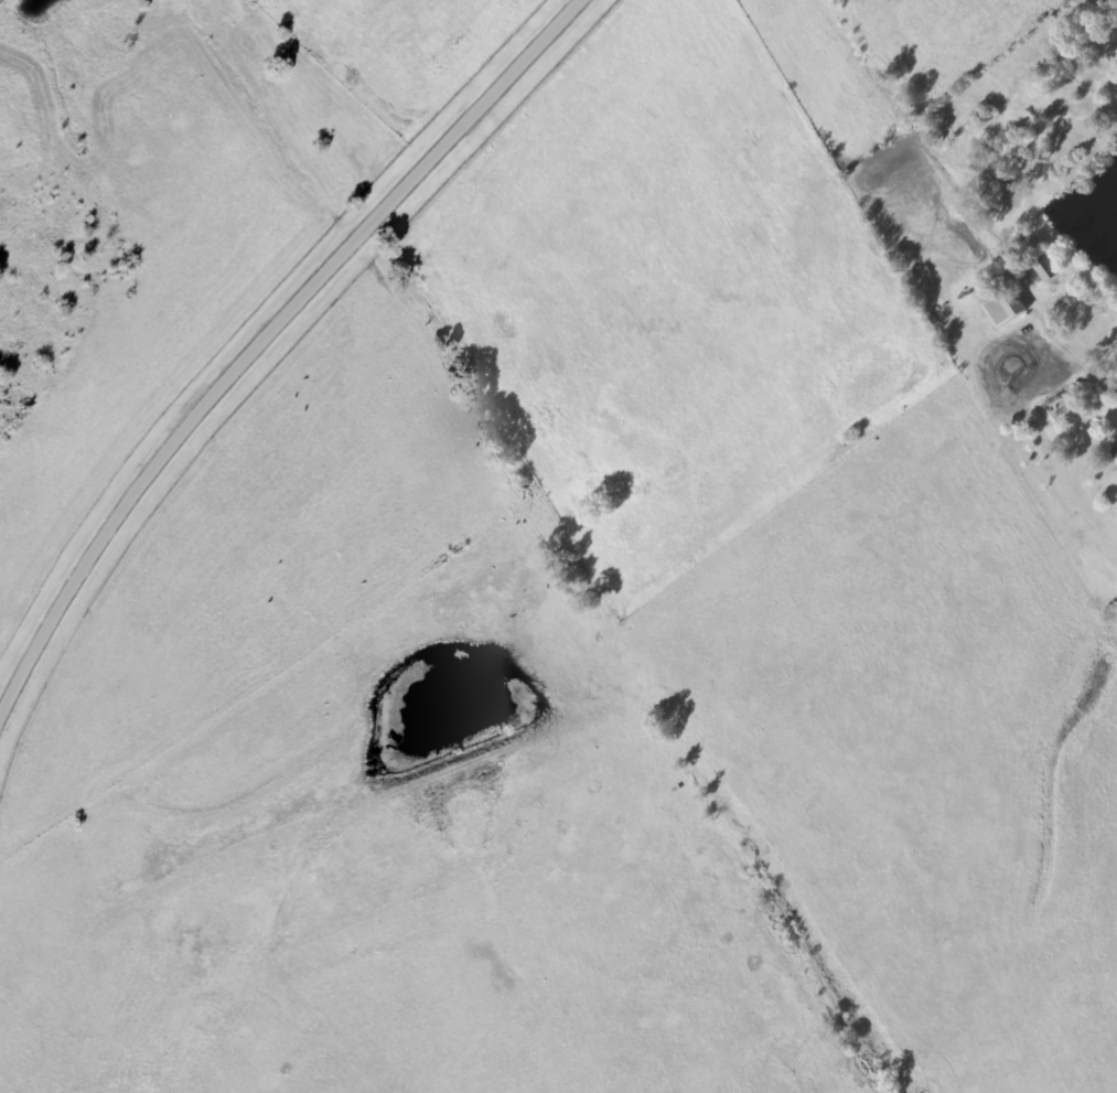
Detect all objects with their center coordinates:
building: (1044, 269)
building: (1005, 310)
road: (266, 336)

